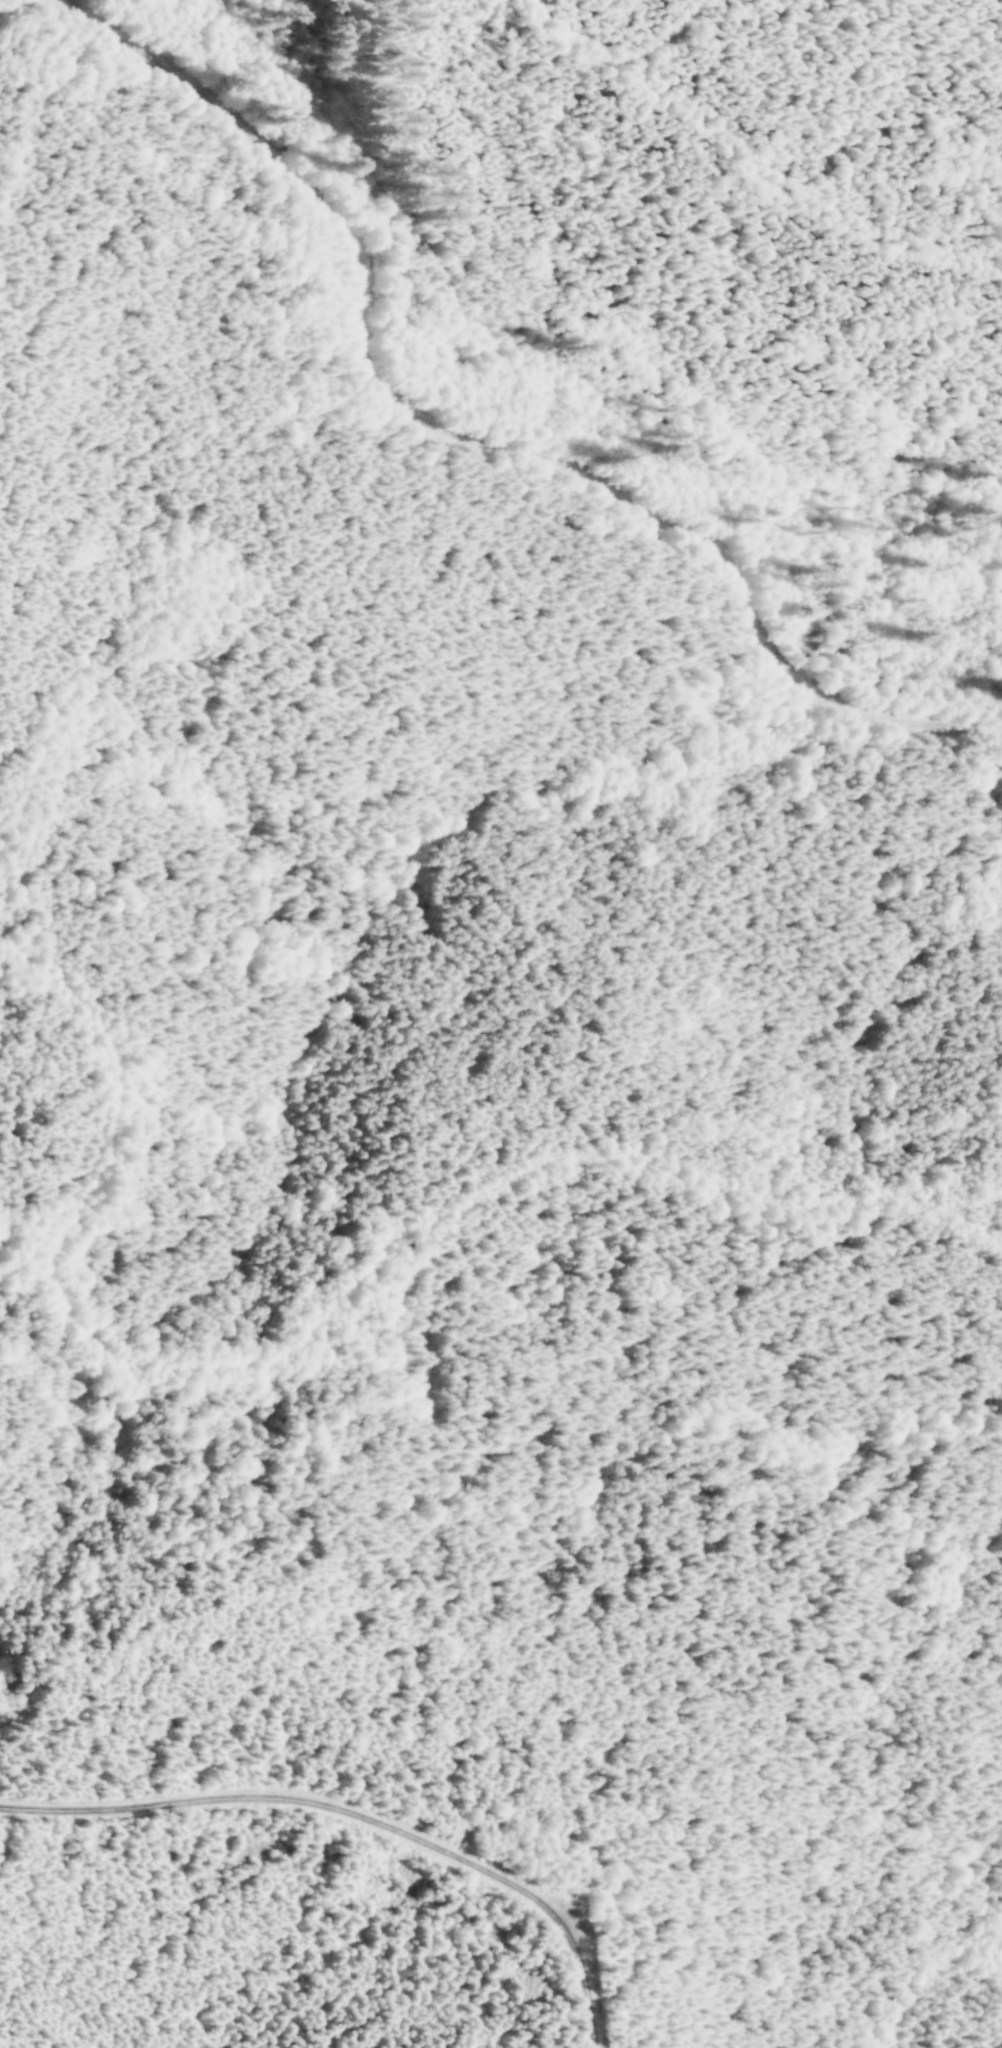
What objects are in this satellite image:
road: (443, 463)
road: (364, 1824)

